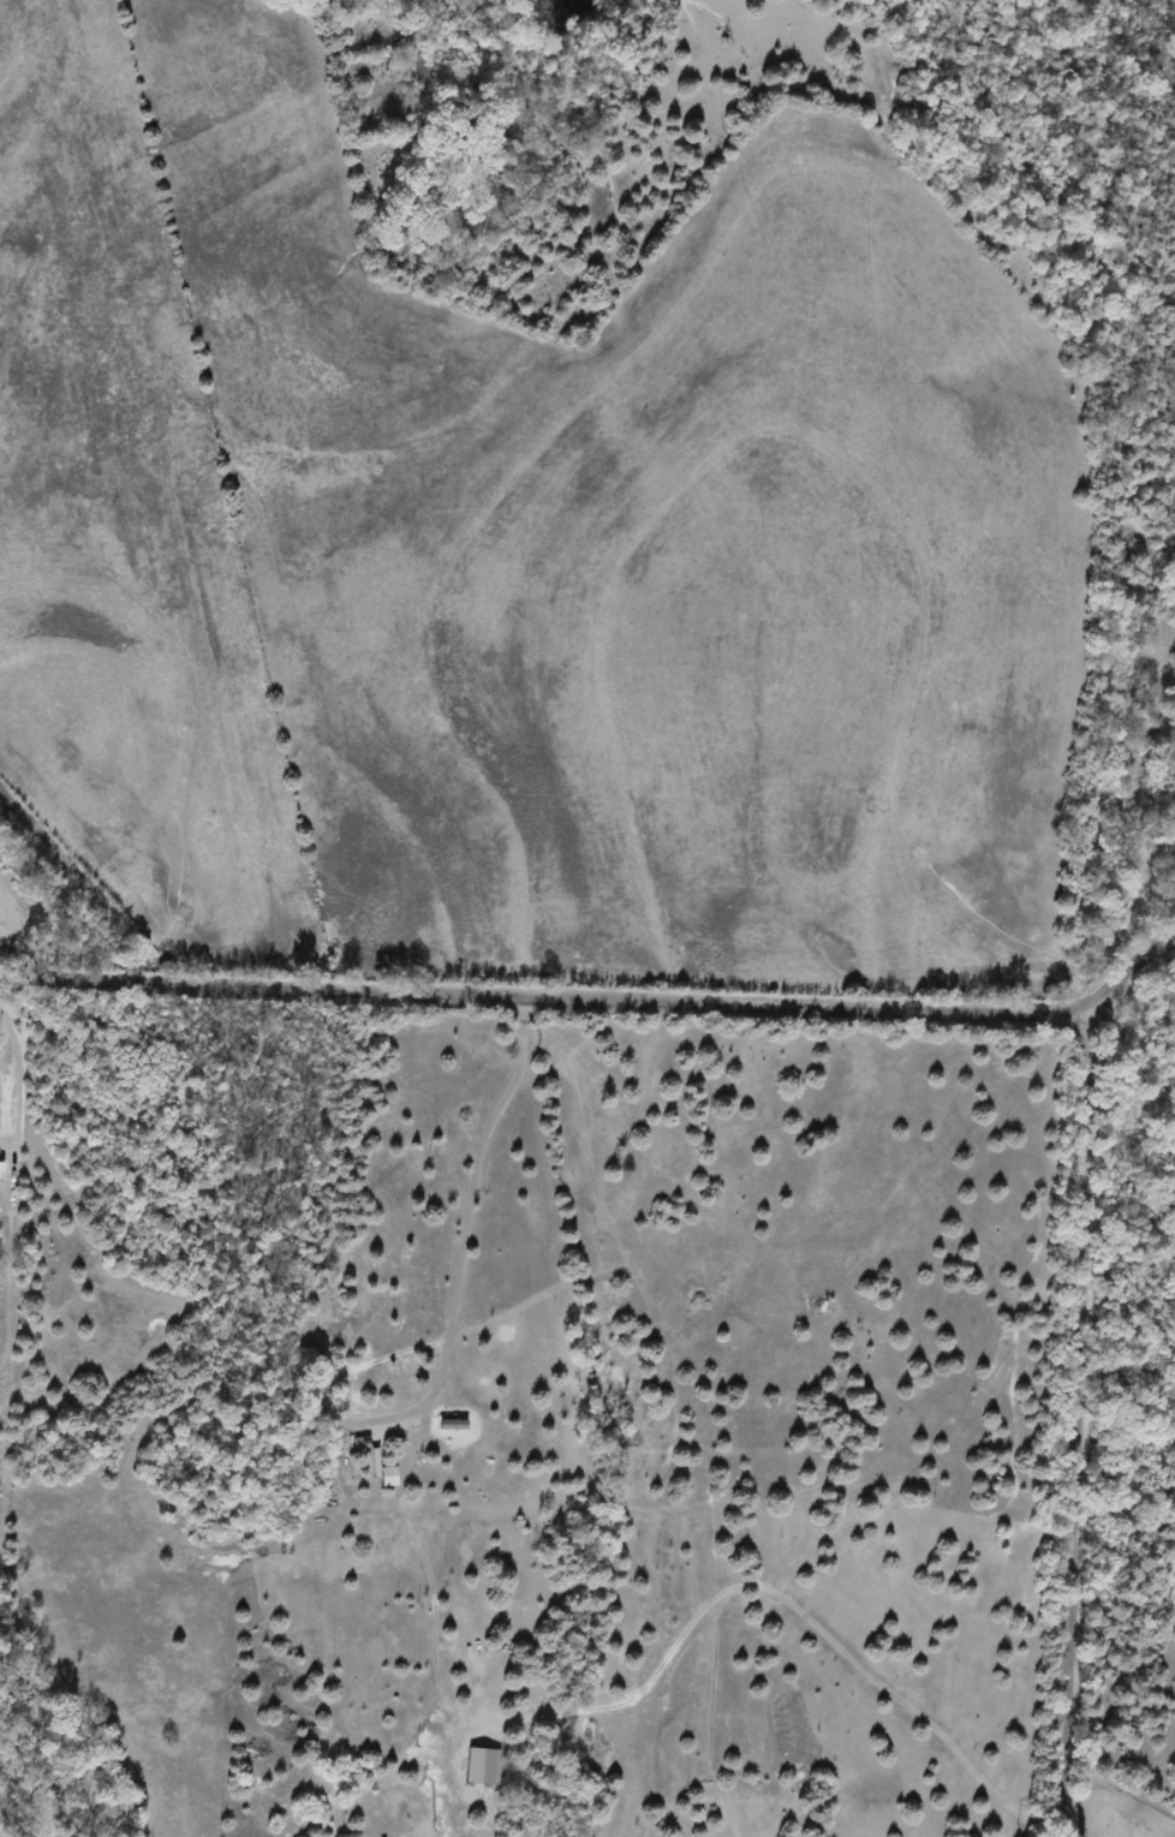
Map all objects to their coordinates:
building: (417, 77)
road: (19, 935)
road: (596, 1000)
road: (20, 1081)
road: (461, 1221)
road: (1080, 1420)
building: (478, 1767)

